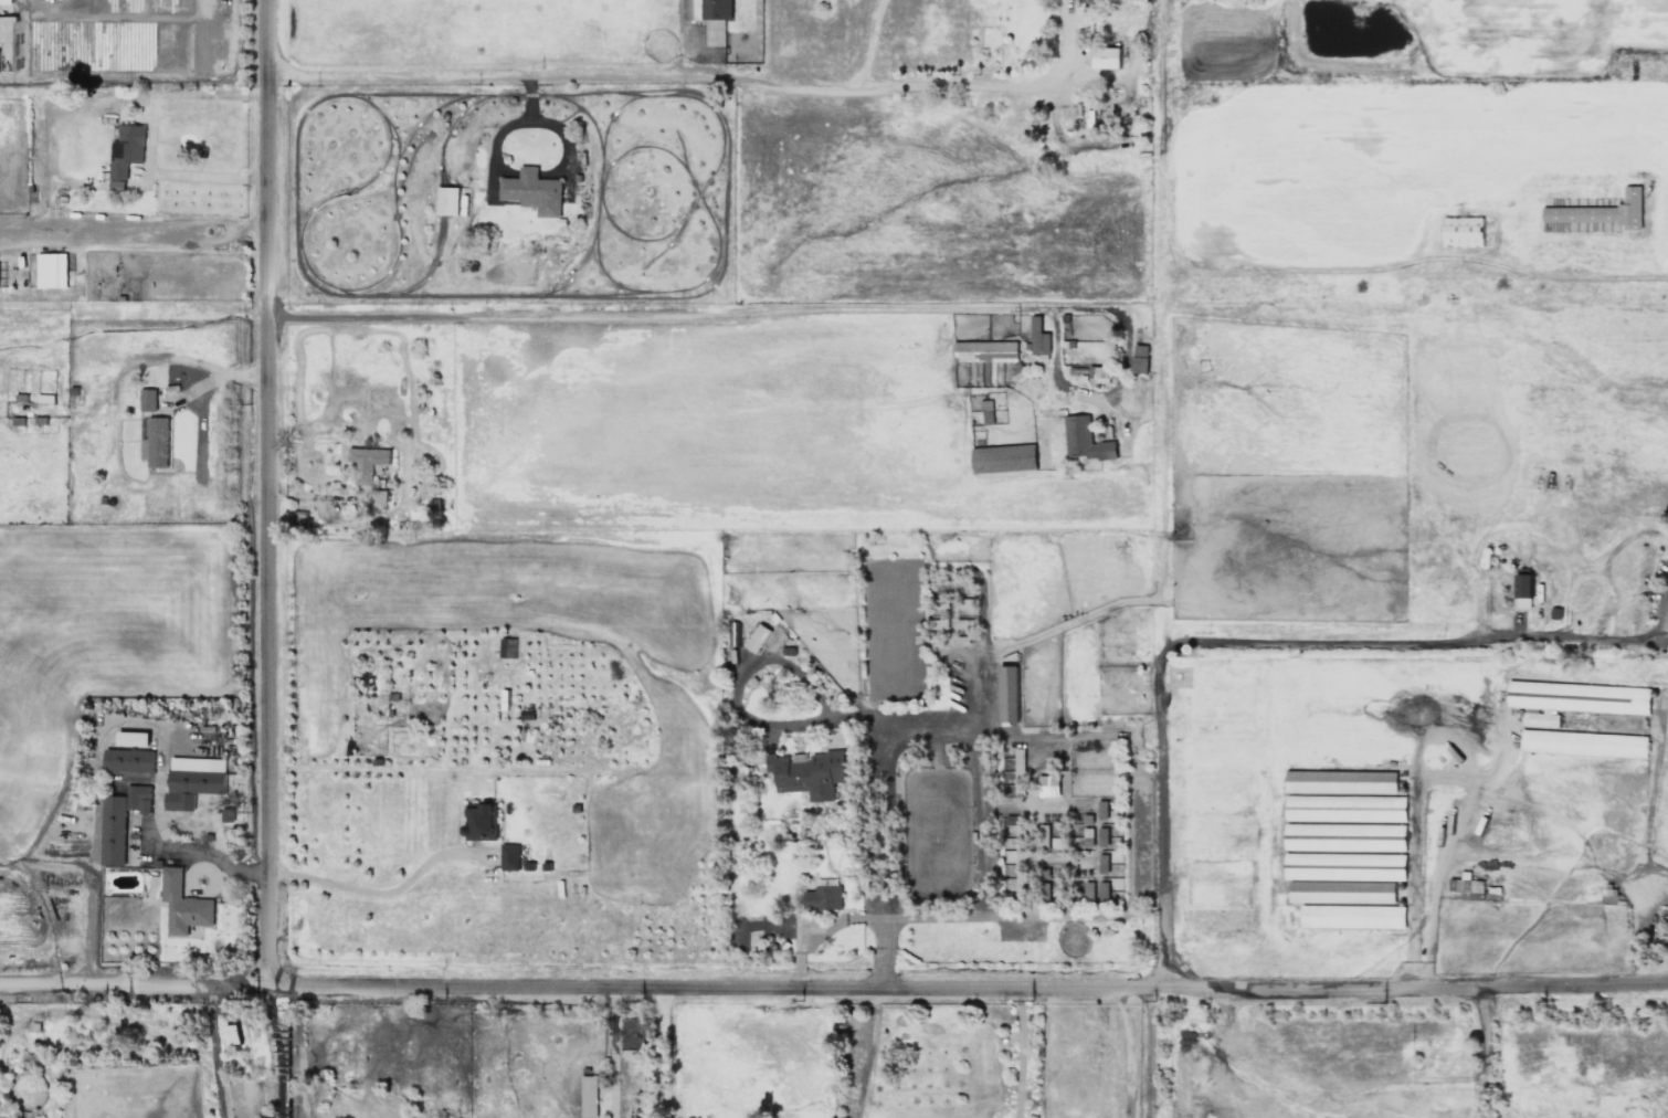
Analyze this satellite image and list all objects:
building: (4, 1)
building: (716, 9)
road: (194, 33)
road: (874, 40)
building: (1106, 57)
road: (1059, 61)
road: (508, 65)
road: (844, 81)
road: (211, 95)
building: (126, 149)
road: (1161, 158)
road: (175, 172)
building: (116, 184)
building: (532, 191)
building: (447, 200)
building: (1461, 231)
road: (1414, 262)
building: (51, 270)
road: (969, 316)
building: (1038, 337)
building: (985, 350)
building: (1140, 358)
building: (1099, 372)
road: (214, 379)
building: (148, 399)
building: (982, 408)
building: (1085, 440)
building: (156, 442)
road: (1159, 455)
building: (1003, 457)
building: (368, 462)
road: (271, 493)
building: (377, 498)
road: (1604, 563)
building: (1522, 591)
road: (1667, 625)
building: (757, 637)
road: (1418, 646)
building: (1010, 693)
building: (1573, 699)
road: (739, 709)
road: (1048, 731)
building: (133, 738)
building: (1583, 742)
building: (129, 760)
building: (807, 772)
building: (1016, 776)
building: (193, 780)
road: (883, 781)
building: (1341, 781)
building: (1048, 785)
building: (1345, 808)
building: (1102, 809)
road: (1159, 815)
building: (120, 821)
building: (481, 822)
road: (981, 827)
road: (1128, 830)
building: (1087, 836)
building: (1102, 836)
building: (1345, 836)
building: (1048, 838)
road: (173, 843)
building: (509, 856)
building: (1102, 863)
building: (1345, 866)
building: (1466, 883)
road: (377, 887)
building: (1088, 890)
building: (1102, 890)
building: (1342, 892)
building: (823, 897)
building: (183, 904)
road: (1080, 916)
building: (1352, 916)
road: (923, 918)
road: (834, 988)
road: (273, 995)
building: (232, 1034)
road: (295, 1051)
road: (213, 1052)
road: (611, 1053)
road: (662, 1053)
road: (1127, 1053)
road: (1021, 1054)
road: (1149, 1054)
road: (1486, 1054)
road: (273, 1062)
building: (589, 1096)

